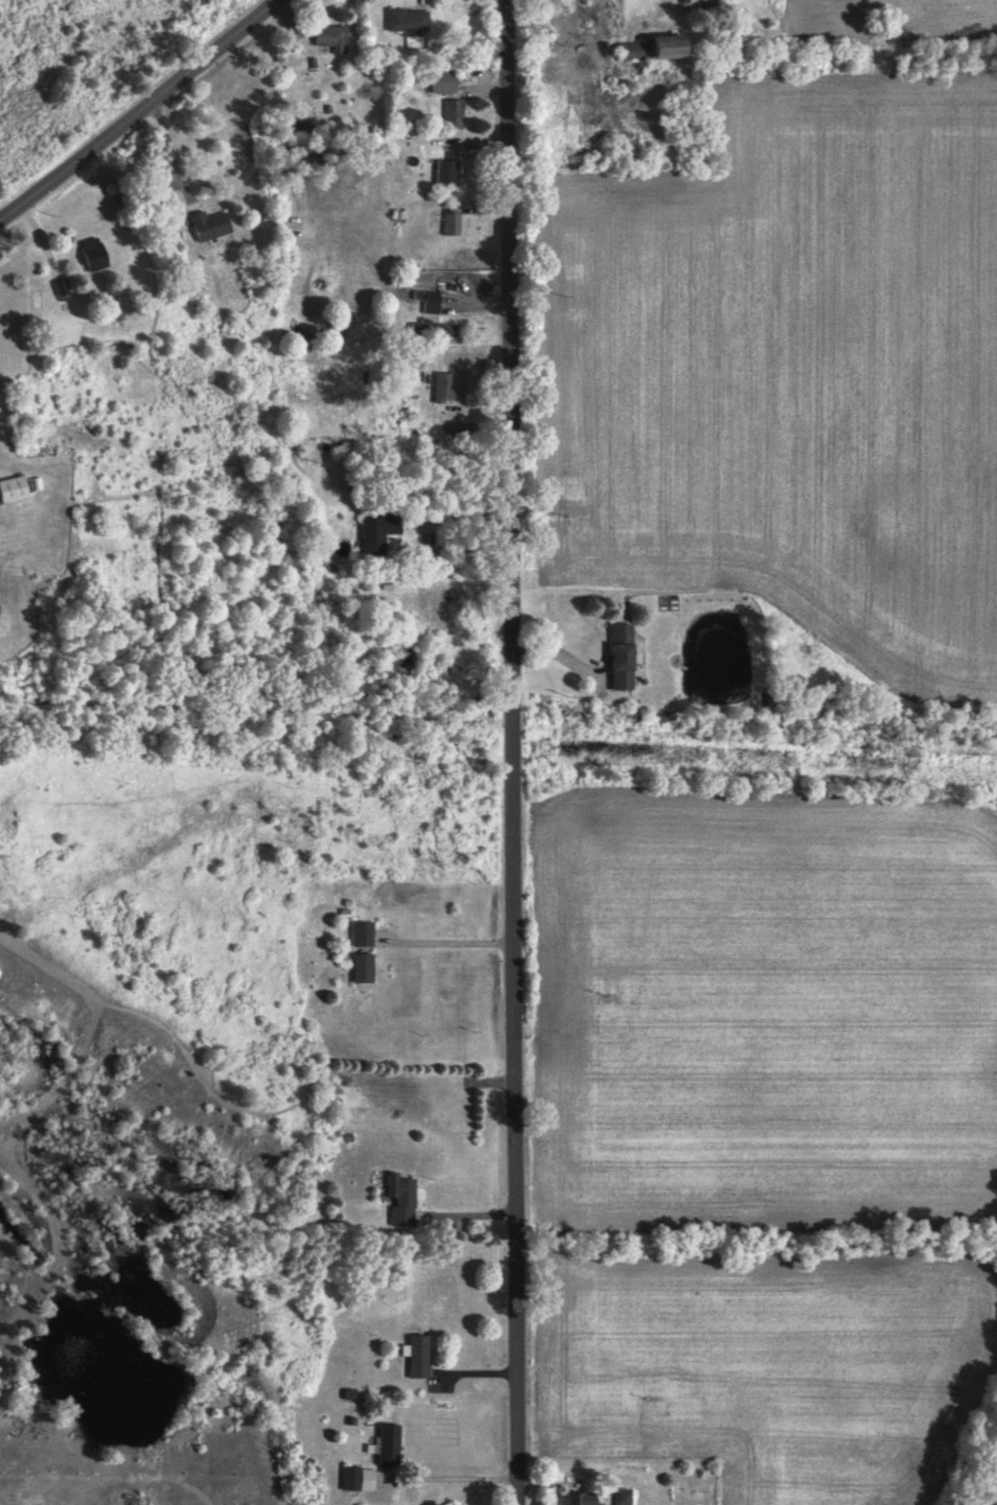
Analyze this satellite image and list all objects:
building: (683, 1)
building: (406, 20)
building: (330, 38)
building: (665, 46)
building: (630, 49)
building: (440, 81)
building: (452, 111)
road: (143, 114)
road: (170, 158)
building: (445, 173)
building: (207, 225)
building: (91, 254)
building: (427, 301)
building: (433, 331)
building: (442, 388)
building: (12, 489)
road: (460, 512)
building: (376, 533)
building: (619, 656)
road: (515, 752)
building: (361, 933)
road: (448, 940)
building: (361, 967)
building: (401, 1201)
road: (468, 1216)
building: (416, 1356)
building: (386, 1444)
building: (357, 1478)
road: (460, 1478)
building: (620, 1496)
building: (577, 1498)

